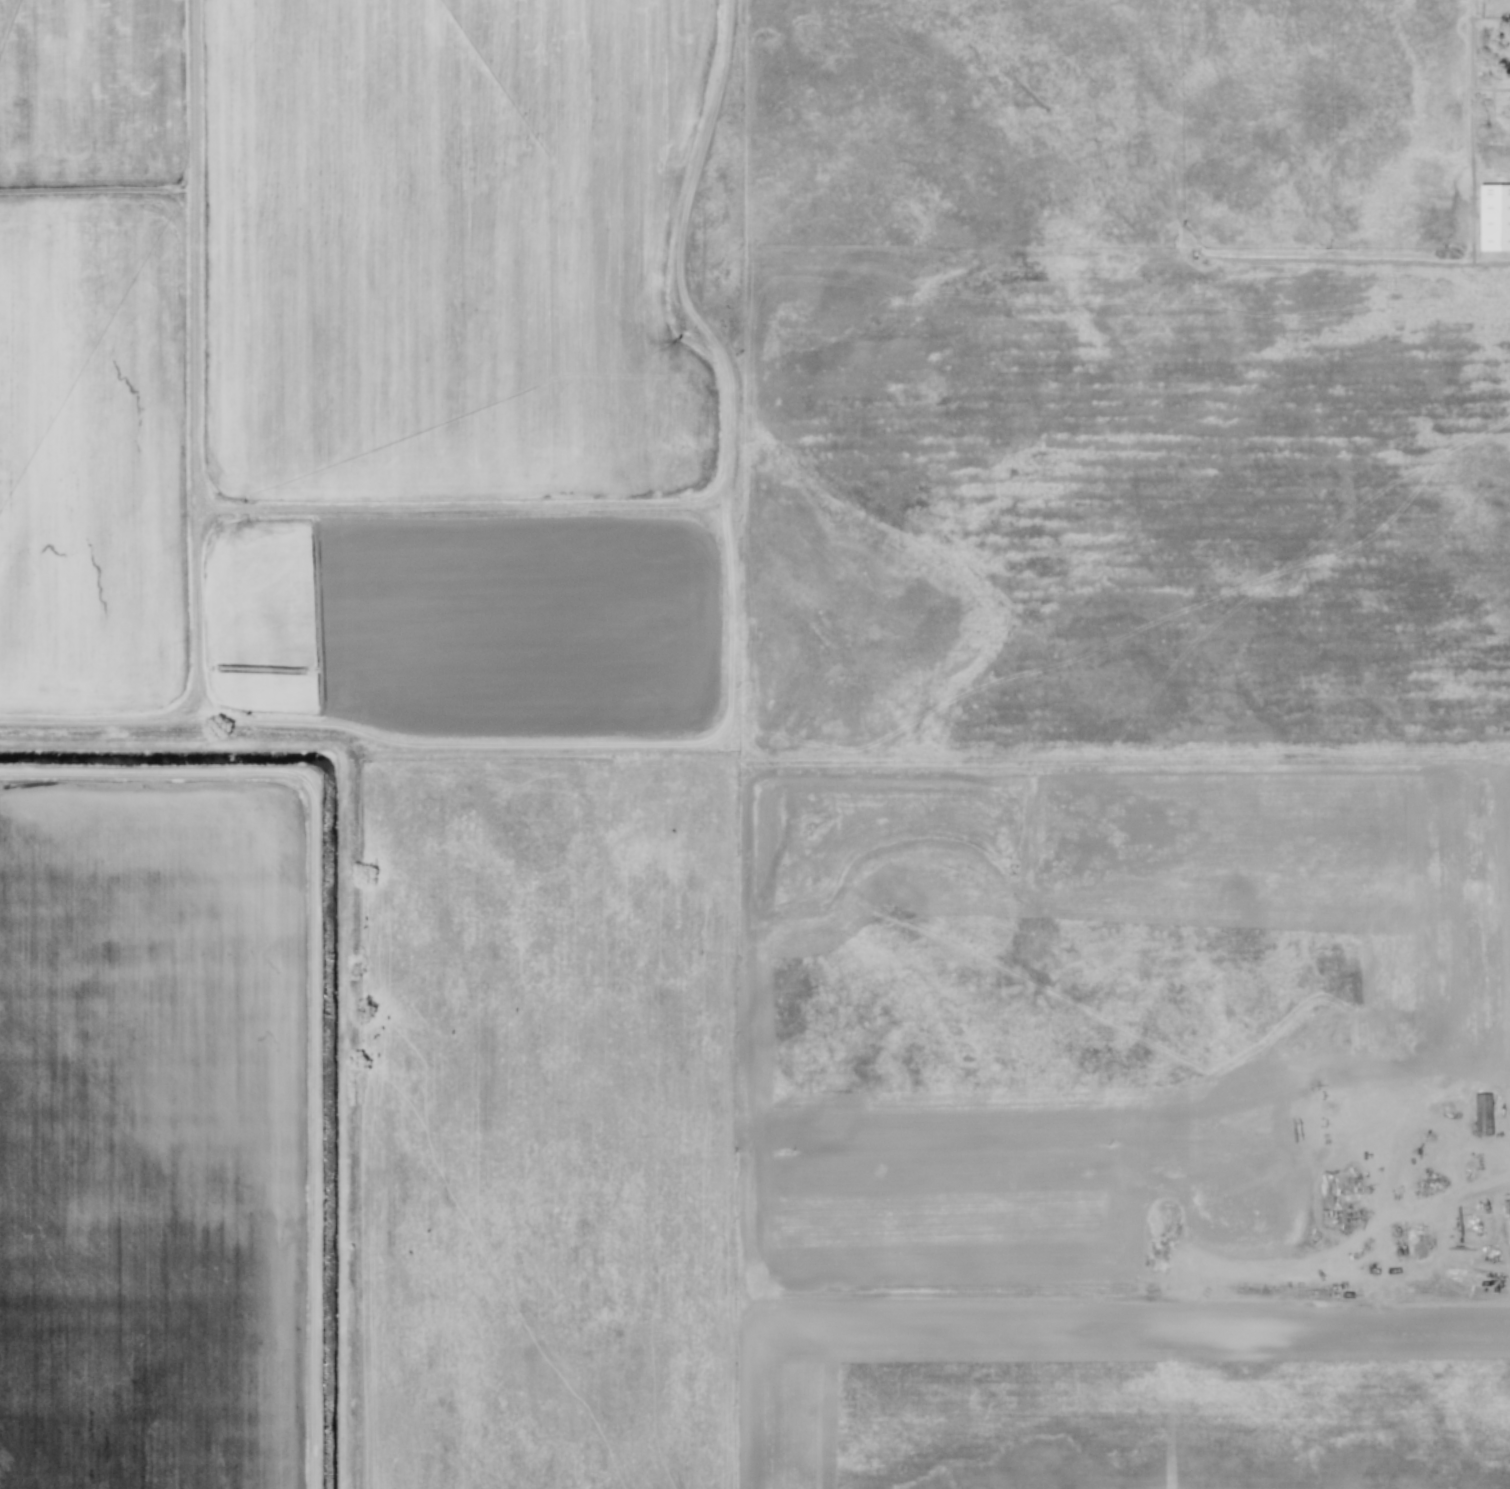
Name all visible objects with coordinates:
building: (1494, 218)
road: (1412, 1206)
road: (1419, 1289)

